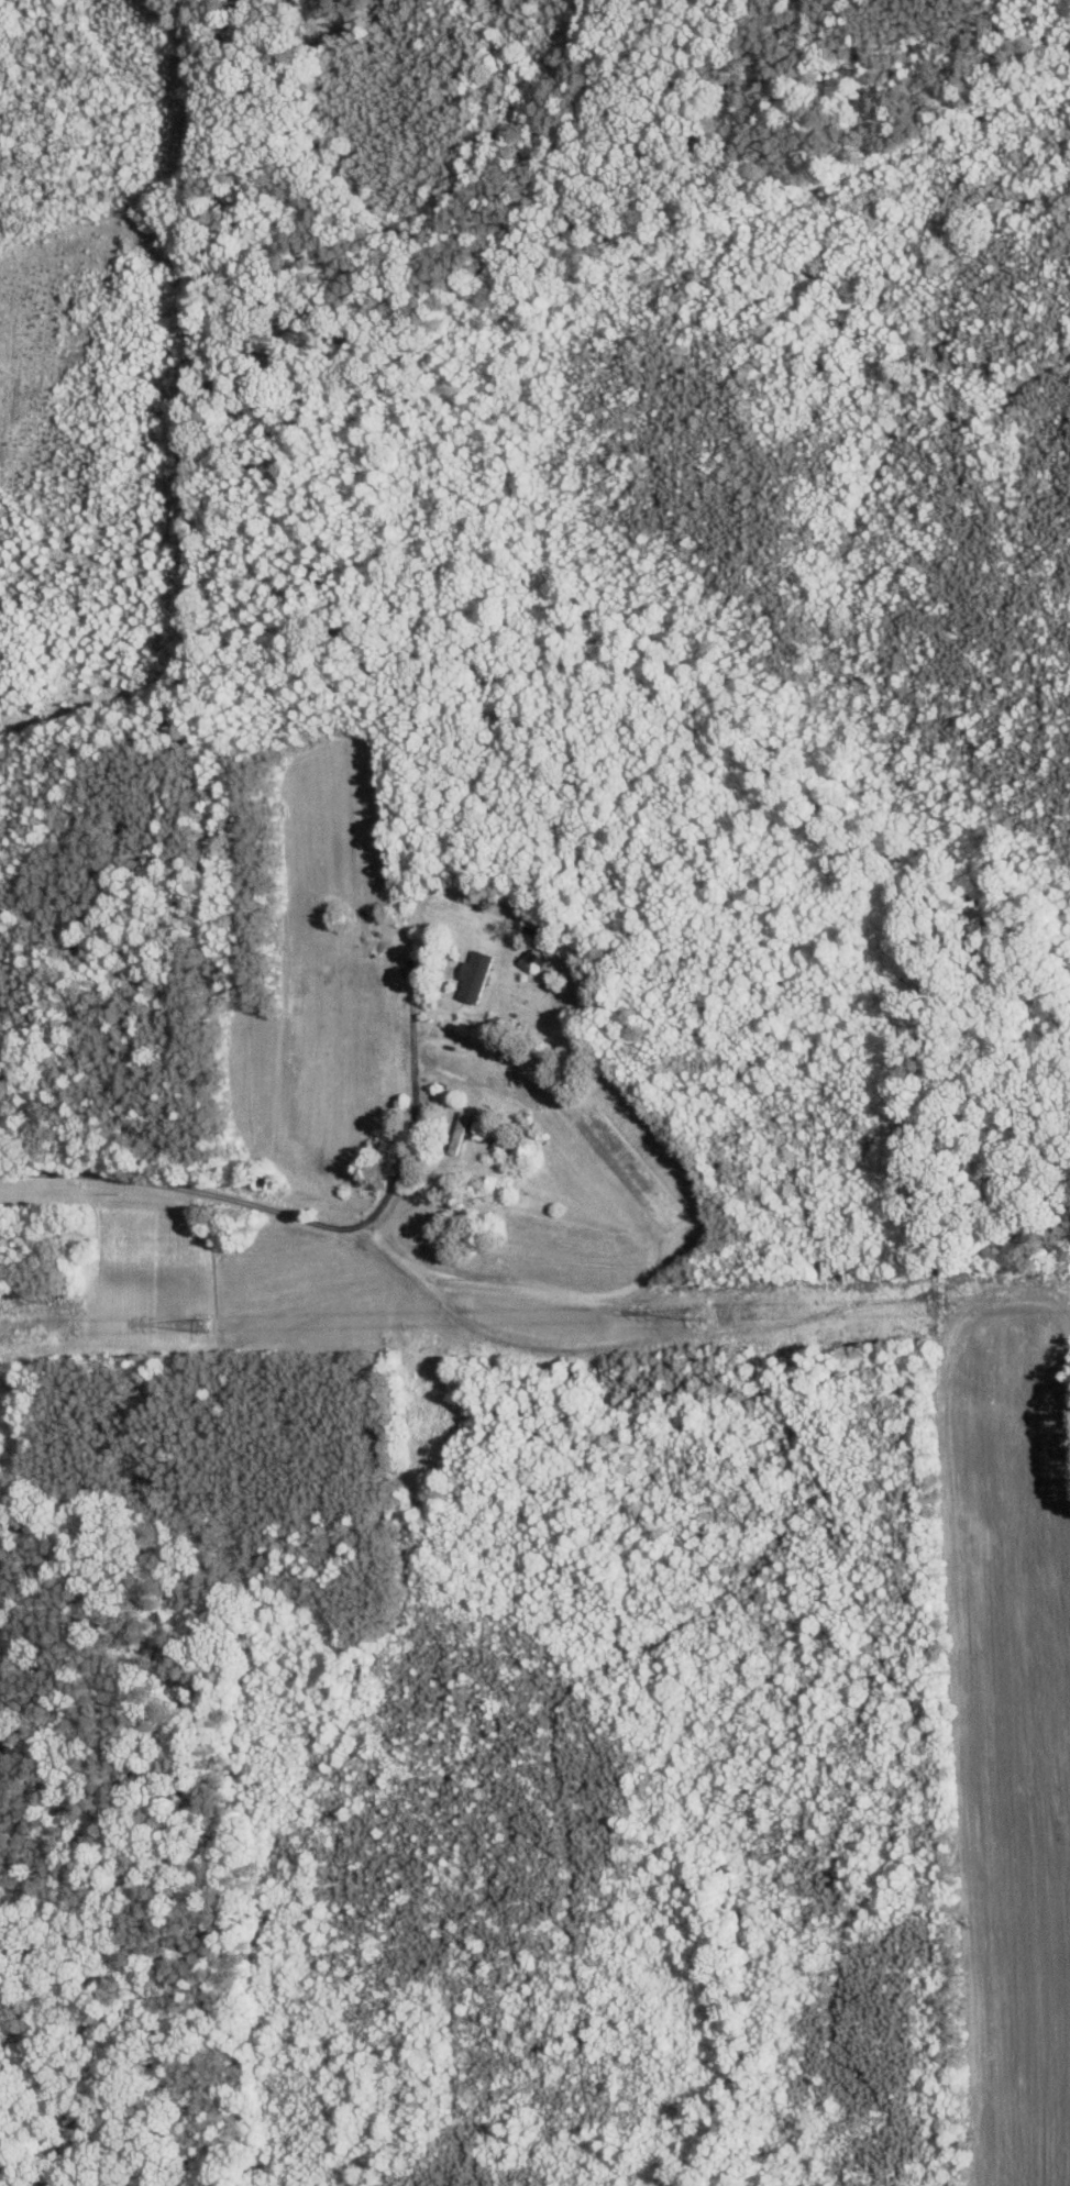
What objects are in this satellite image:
building: (531, 960)
building: (476, 974)
building: (460, 1130)
road: (312, 1221)
power tower: (724, 1313)
power tower: (198, 1326)

